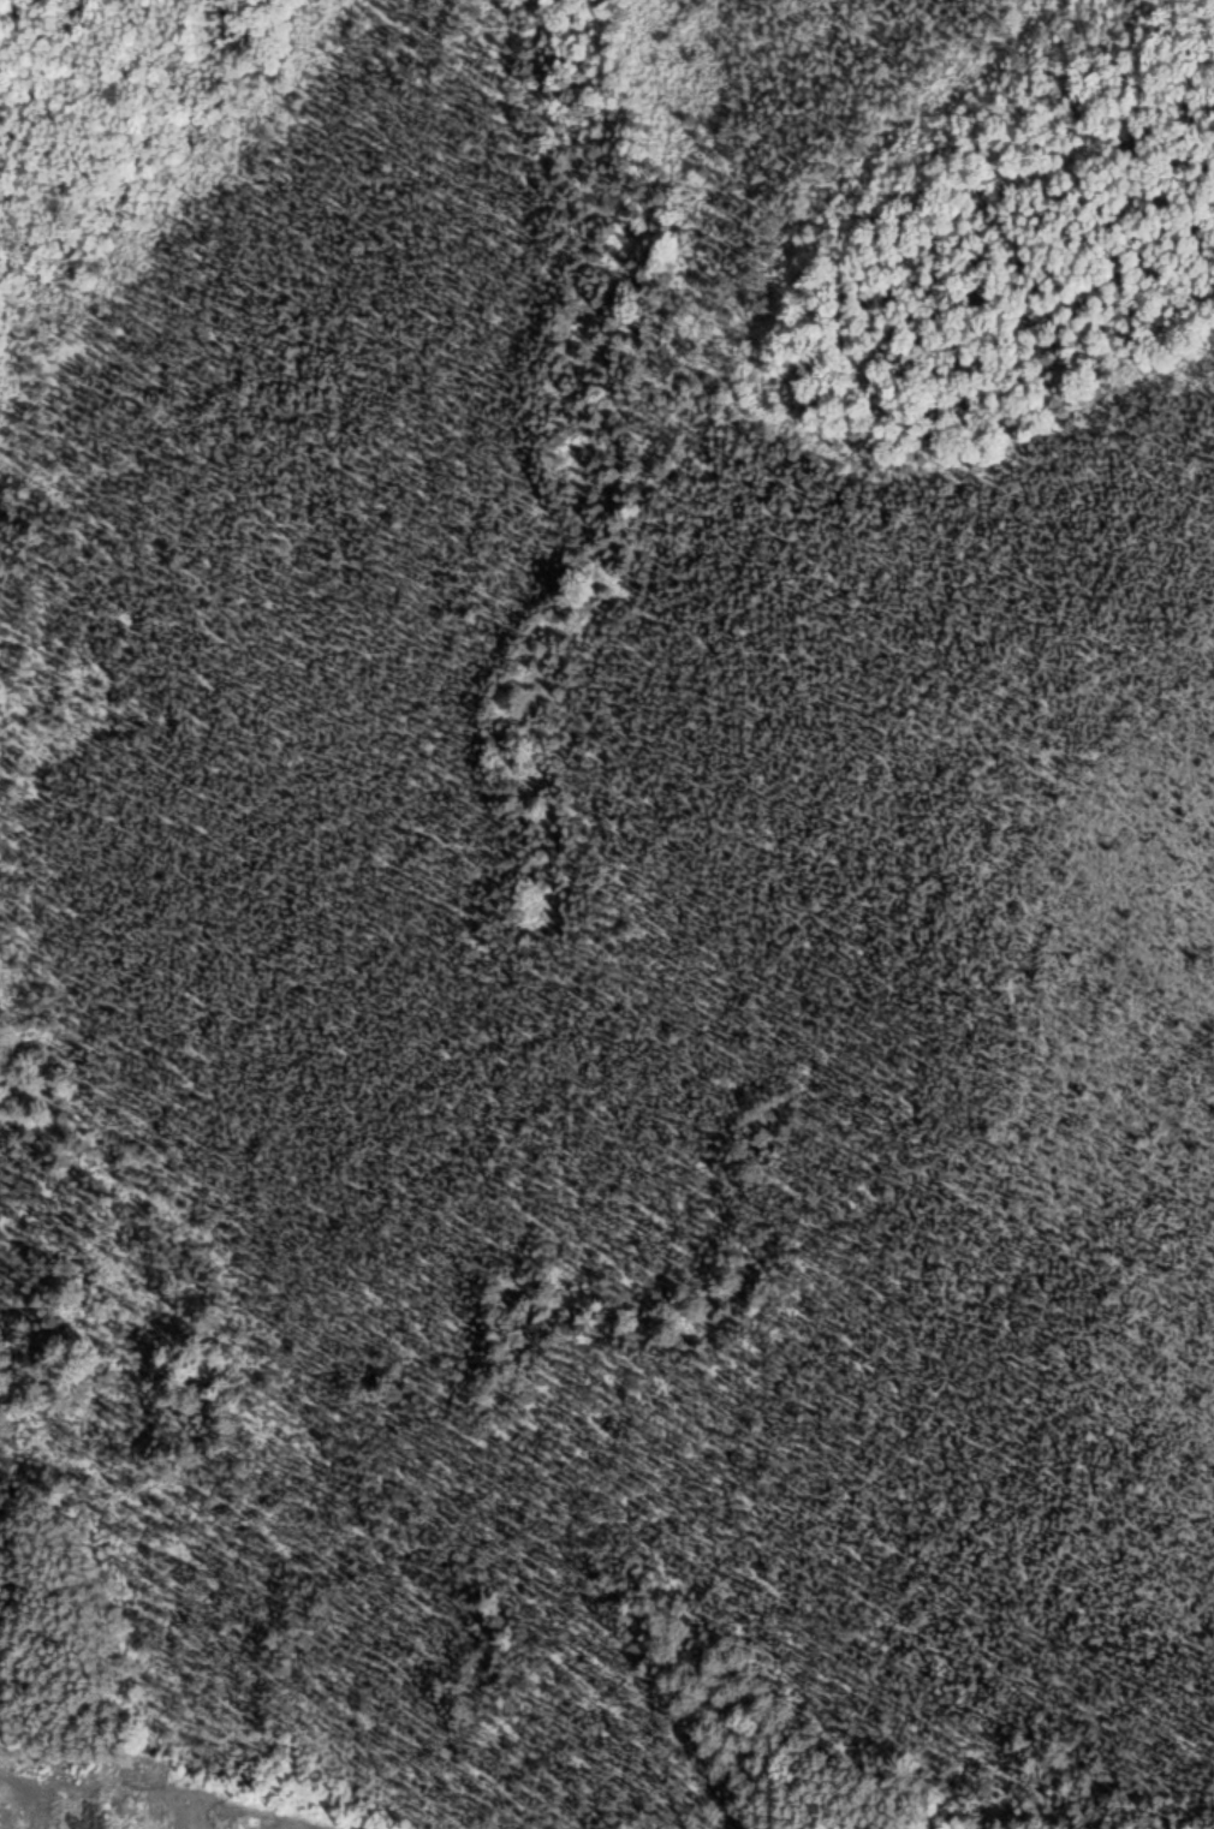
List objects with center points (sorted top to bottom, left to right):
quarry: (177, 1788)

